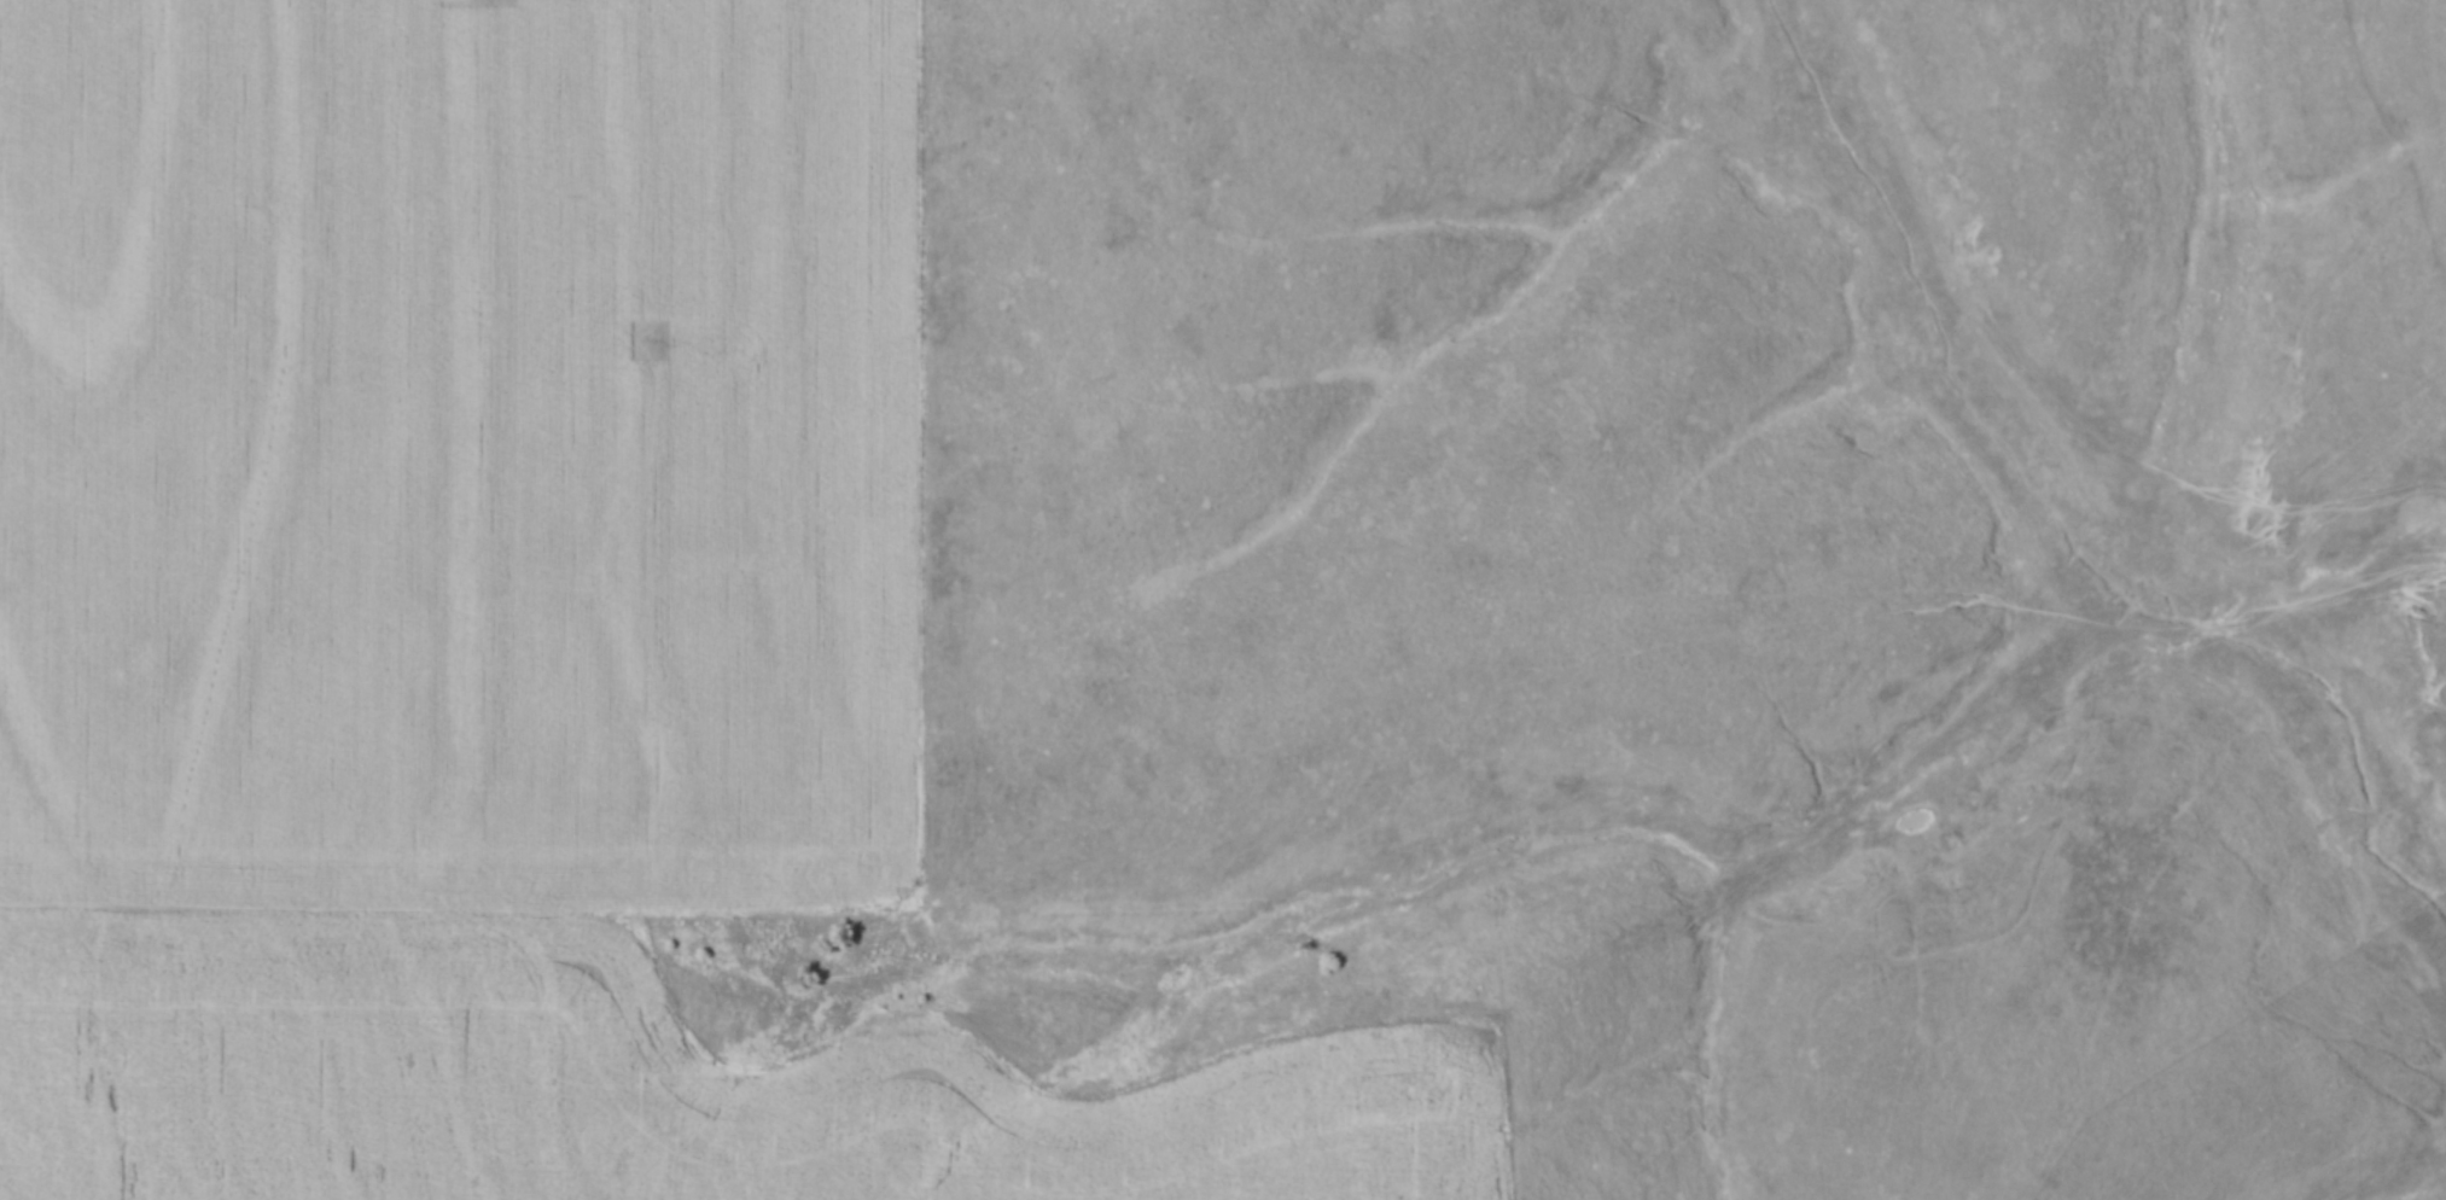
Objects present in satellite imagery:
crop: (461, 447)
crop: (615, 1074)

